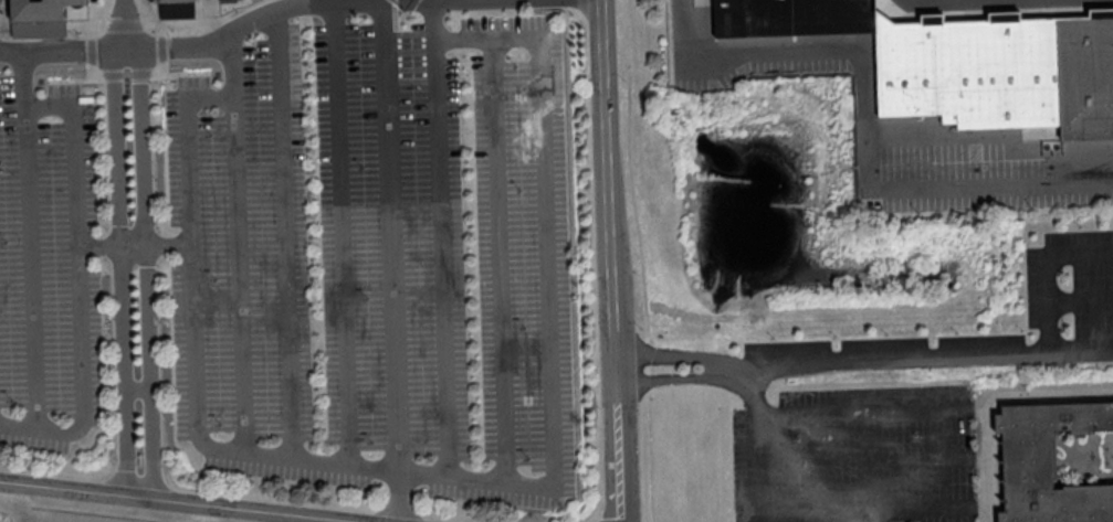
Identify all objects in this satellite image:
building: (174, 0)
road: (948, 1)
building: (41, 9)
road: (125, 23)
road: (126, 25)
road: (196, 29)
road: (64, 31)
road: (231, 34)
building: (965, 64)
road: (187, 72)
road: (128, 76)
road: (70, 78)
road: (869, 126)
road: (284, 234)
road: (344, 234)
road: (391, 235)
road: (168, 244)
road: (133, 245)
road: (97, 246)
road: (441, 256)
road: (76, 257)
road: (498, 258)
road: (613, 260)
road: (641, 260)
road: (30, 264)
parking lot: (384, 264)
road: (1044, 268)
road: (119, 270)
road: (147, 271)
road: (241, 275)
parking lot: (51, 276)
road: (1079, 299)
road: (921, 356)
road: (705, 360)
road: (694, 382)
road: (137, 390)
road: (990, 400)
road: (872, 411)
road: (873, 459)
road: (763, 466)
building: (1052, 466)
road: (437, 472)
road: (398, 496)
road: (185, 501)
road: (875, 509)

